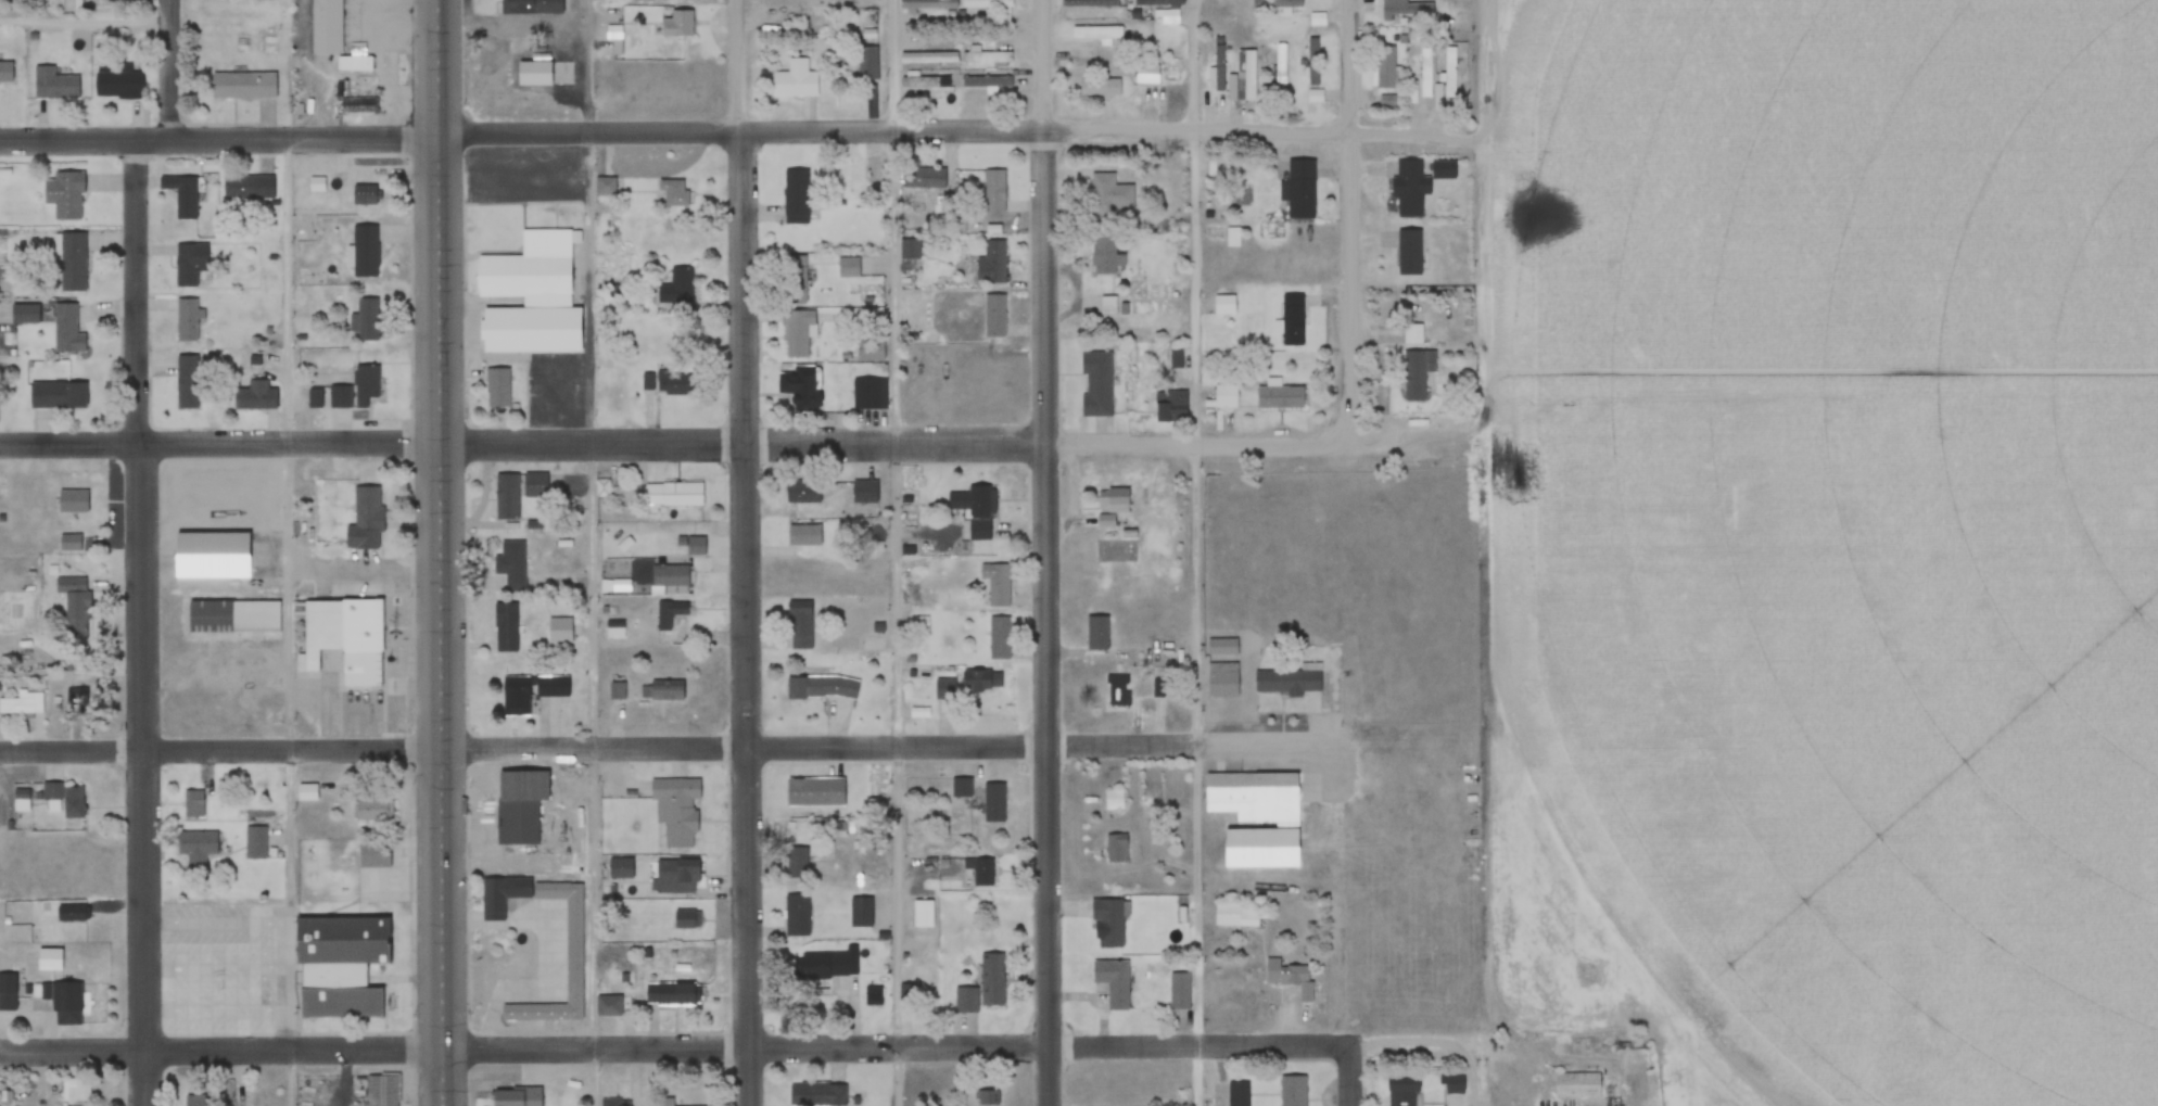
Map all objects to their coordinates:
building: (1091, 3)
building: (1158, 3)
building: (926, 4)
building: (1277, 4)
building: (986, 5)
building: (529, 8)
building: (1407, 12)
building: (1318, 20)
road: (87, 21)
building: (677, 25)
building: (326, 27)
building: (1095, 34)
building: (988, 58)
building: (1315, 62)
road: (1195, 64)
building: (1282, 64)
building: (867, 65)
building: (1219, 67)
building: (1385, 67)
building: (1429, 67)
road: (173, 71)
building: (4, 72)
building: (1451, 72)
building: (1148, 75)
building: (1251, 75)
building: (117, 81)
building: (795, 81)
building: (925, 81)
building: (987, 82)
building: (54, 85)
building: (241, 86)
building: (1100, 88)
road: (953, 127)
road: (219, 139)
building: (923, 178)
building: (250, 186)
building: (605, 187)
building: (1409, 188)
building: (994, 192)
building: (673, 193)
building: (64, 195)
building: (365, 195)
building: (1299, 195)
building: (186, 196)
building: (795, 198)
building: (1110, 199)
road: (1347, 217)
building: (364, 252)
building: (1409, 253)
building: (1104, 256)
building: (71, 260)
building: (993, 262)
building: (186, 266)
building: (530, 271)
building: (795, 279)
building: (675, 291)
building: (1108, 305)
building: (1224, 305)
building: (994, 316)
building: (366, 319)
building: (186, 320)
building: (1291, 320)
building: (66, 329)
building: (796, 333)
building: (1413, 334)
building: (505, 346)
building: (869, 351)
building: (1418, 369)
building: (186, 382)
building: (676, 382)
building: (1095, 384)
building: (796, 386)
building: (365, 387)
building: (497, 387)
building: (554, 392)
building: (869, 393)
building: (56, 394)
building: (1227, 396)
building: (1279, 396)
building: (254, 398)
building: (1172, 406)
road: (944, 438)
road: (220, 444)
building: (801, 492)
building: (864, 492)
building: (534, 494)
building: (673, 494)
building: (505, 497)
building: (69, 501)
building: (1110, 505)
building: (366, 508)
building: (975, 510)
building: (804, 535)
building: (69, 542)
building: (691, 545)
road: (441, 552)
road: (595, 552)
road: (742, 552)
road: (897, 552)
road: (1046, 552)
building: (510, 564)
building: (670, 575)
building: (999, 585)
building: (73, 603)
building: (670, 614)
building: (232, 615)
road: (1196, 616)
road: (293, 622)
road: (142, 623)
building: (799, 625)
building: (505, 627)
building: (1096, 633)
building: (999, 638)
building: (342, 639)
building: (1222, 647)
building: (1221, 681)
building: (1290, 682)
building: (968, 685)
building: (822, 688)
building: (1118, 690)
building: (529, 691)
building: (665, 691)
building: (77, 702)
building: (24, 705)
road: (904, 749)
road: (221, 750)
building: (961, 788)
building: (305, 792)
building: (815, 792)
building: (65, 799)
building: (1114, 800)
building: (194, 803)
building: (994, 803)
building: (373, 810)
building: (677, 810)
building: (1256, 817)
building: (517, 821)
building: (255, 841)
building: (195, 848)
building: (1117, 848)
building: (372, 854)
building: (798, 862)
building: (620, 868)
building: (980, 873)
building: (676, 876)
building: (69, 913)
building: (861, 913)
building: (925, 914)
building: (797, 915)
building: (1236, 915)
building: (687, 919)
building: (1108, 921)
building: (346, 937)
building: (48, 957)
building: (574, 963)
building: (824, 965)
building: (1291, 977)
building: (993, 980)
building: (1114, 982)
building: (1180, 991)
building: (7, 992)
building: (674, 994)
building: (875, 995)
building: (966, 1000)
building: (65, 1004)
building: (608, 1006)
road: (898, 1046)
road: (1436, 1047)
road: (223, 1051)
road: (1350, 1077)
building: (1451, 1082)
building: (1577, 1084)
building: (76, 1090)
building: (381, 1090)
building: (1292, 1091)
building: (1400, 1092)
building: (817, 1094)
building: (1239, 1094)
building: (517, 1096)
building: (989, 1098)
building: (195, 1099)
building: (615, 1102)
building: (665, 1102)

